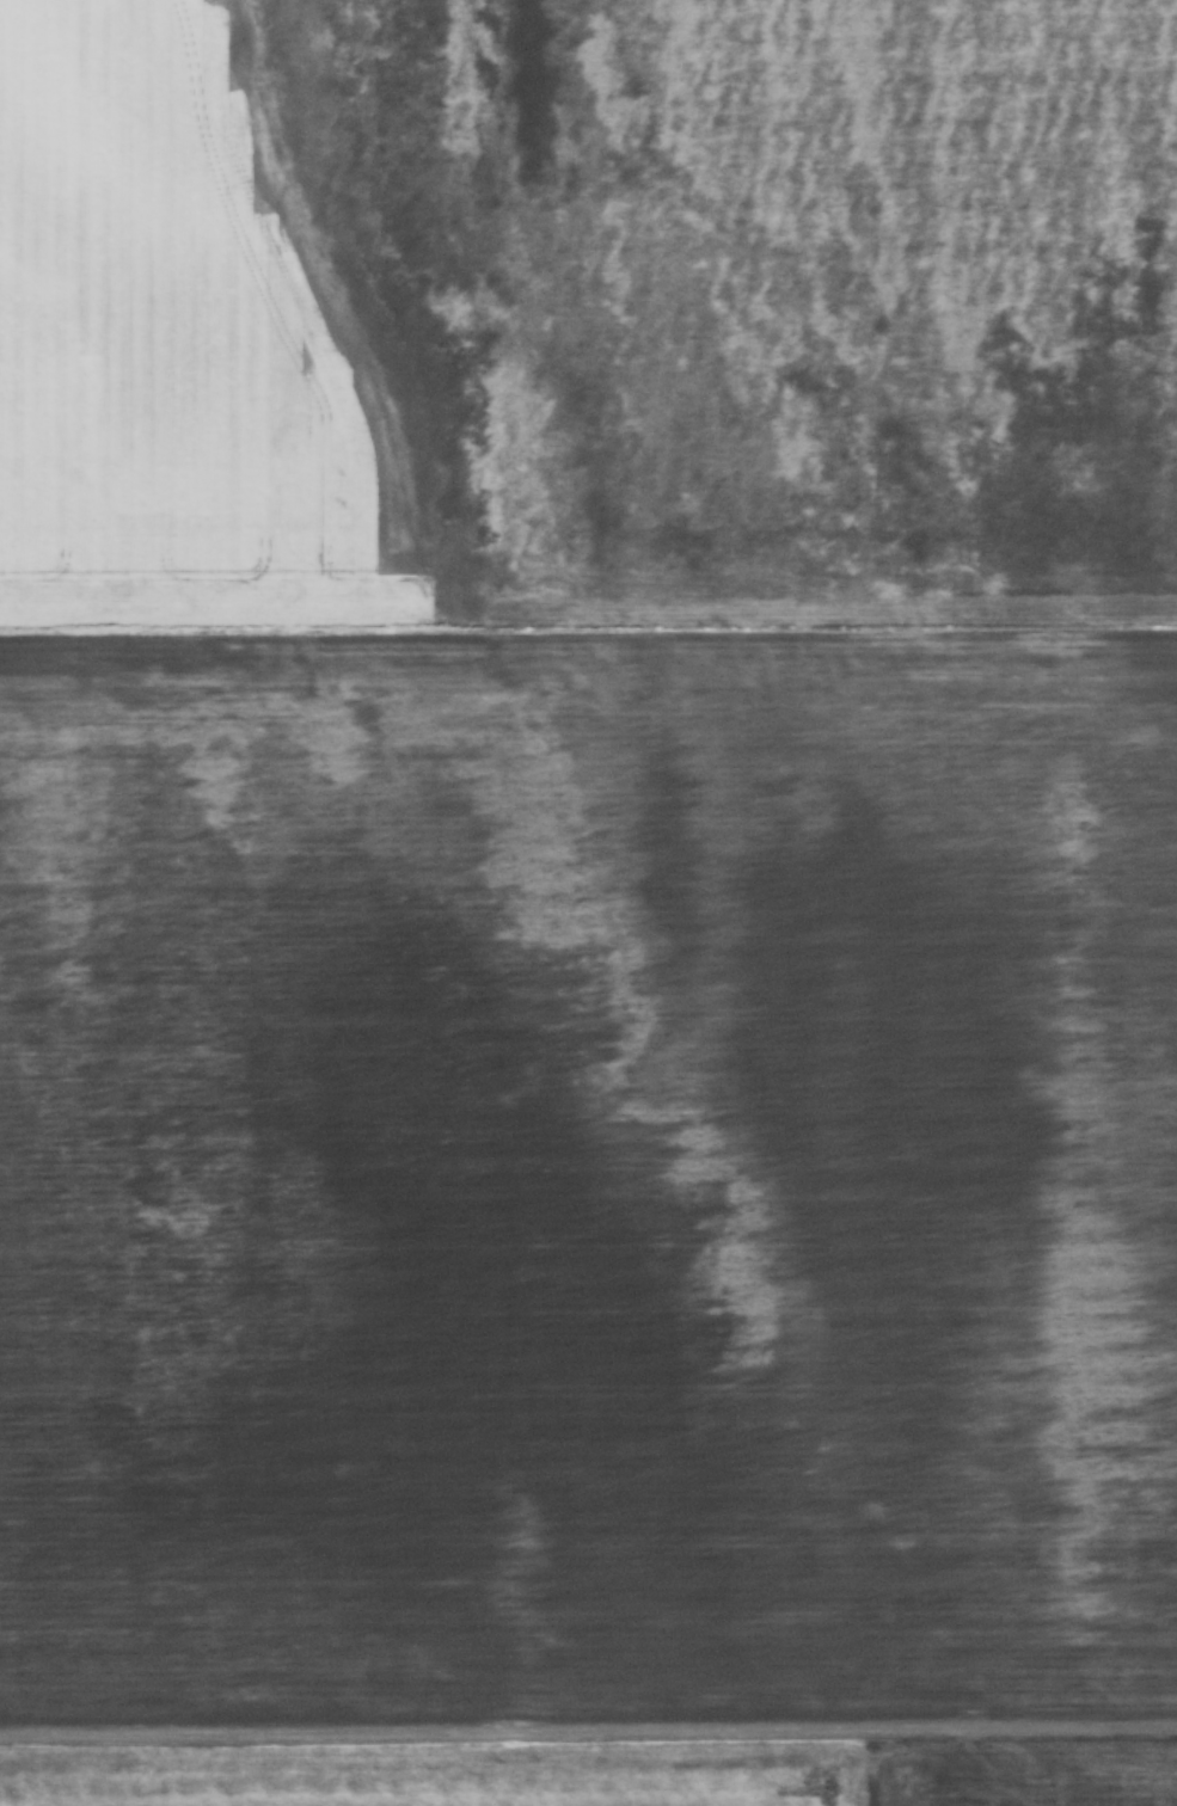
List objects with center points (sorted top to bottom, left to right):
road: (588, 1731)

